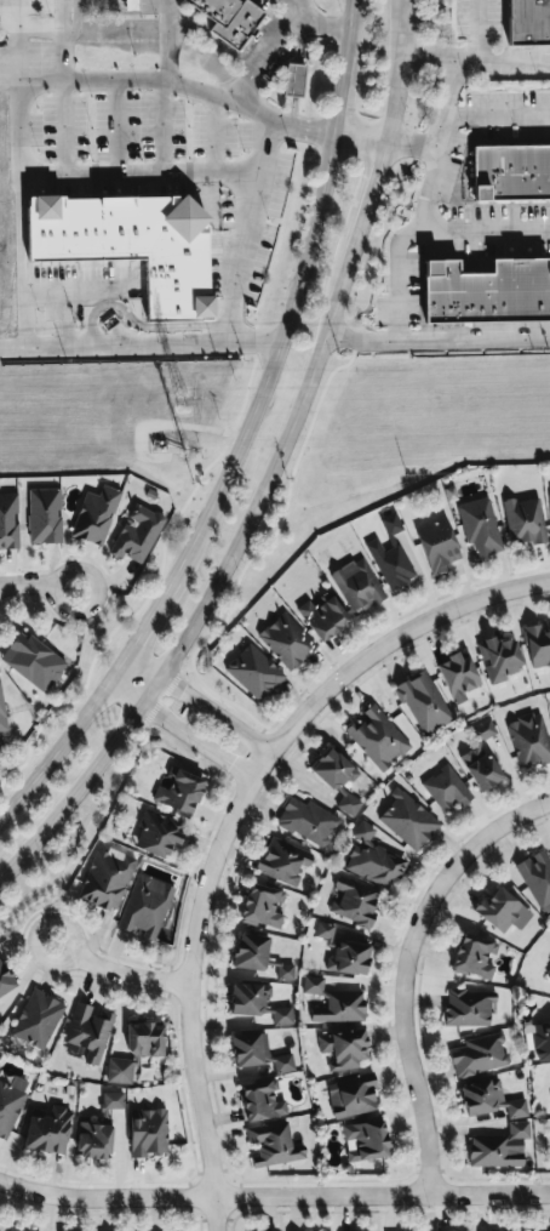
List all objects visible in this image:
building: (130, 5)
road: (17, 12)
road: (65, 16)
building: (229, 18)
building: (528, 22)
road: (166, 24)
road: (311, 24)
road: (33, 27)
road: (440, 59)
road: (483, 63)
road: (164, 70)
road: (397, 72)
road: (55, 80)
building: (293, 80)
road: (166, 92)
road: (498, 113)
road: (302, 127)
road: (441, 133)
road: (360, 139)
building: (512, 175)
road: (133, 184)
parking lot: (480, 190)
road: (367, 198)
road: (486, 229)
road: (241, 230)
building: (131, 244)
road: (397, 275)
building: (488, 293)
road: (292, 301)
road: (475, 340)
road: (21, 343)
power tower: (183, 405)
power tower: (188, 450)
building: (549, 492)
building: (45, 515)
building: (94, 515)
building: (523, 520)
building: (8, 522)
building: (390, 524)
building: (480, 526)
building: (137, 535)
building: (437, 545)
building: (390, 564)
road: (213, 583)
building: (356, 585)
road: (38, 588)
building: (322, 617)
road: (149, 619)
building: (286, 642)
building: (537, 646)
building: (499, 659)
building: (33, 661)
building: (254, 673)
building: (458, 677)
building: (422, 702)
road: (199, 705)
building: (1, 716)
road: (64, 733)
road: (176, 734)
building: (377, 737)
building: (529, 740)
building: (481, 757)
building: (337, 779)
building: (446, 788)
building: (179, 792)
building: (308, 821)
building: (407, 821)
road: (231, 822)
building: (157, 834)
building: (373, 860)
building: (282, 861)
building: (107, 879)
building: (537, 879)
building: (354, 902)
building: (262, 906)
building: (145, 907)
building: (503, 911)
road: (36, 934)
building: (250, 952)
building: (474, 957)
building: (349, 958)
road: (406, 963)
building: (285, 971)
road: (136, 976)
building: (5, 980)
building: (313, 985)
building: (257, 1003)
building: (340, 1008)
building: (468, 1008)
building: (36, 1019)
building: (88, 1031)
building: (147, 1039)
building: (540, 1039)
building: (343, 1048)
building: (258, 1053)
building: (479, 1055)
building: (119, 1071)
building: (351, 1095)
building: (489, 1100)
building: (113, 1101)
building: (260, 1101)
building: (10, 1102)
building: (47, 1130)
building: (149, 1134)
building: (93, 1140)
building: (366, 1140)
building: (273, 1145)
building: (499, 1147)
road: (274, 1198)
building: (12, 1230)

